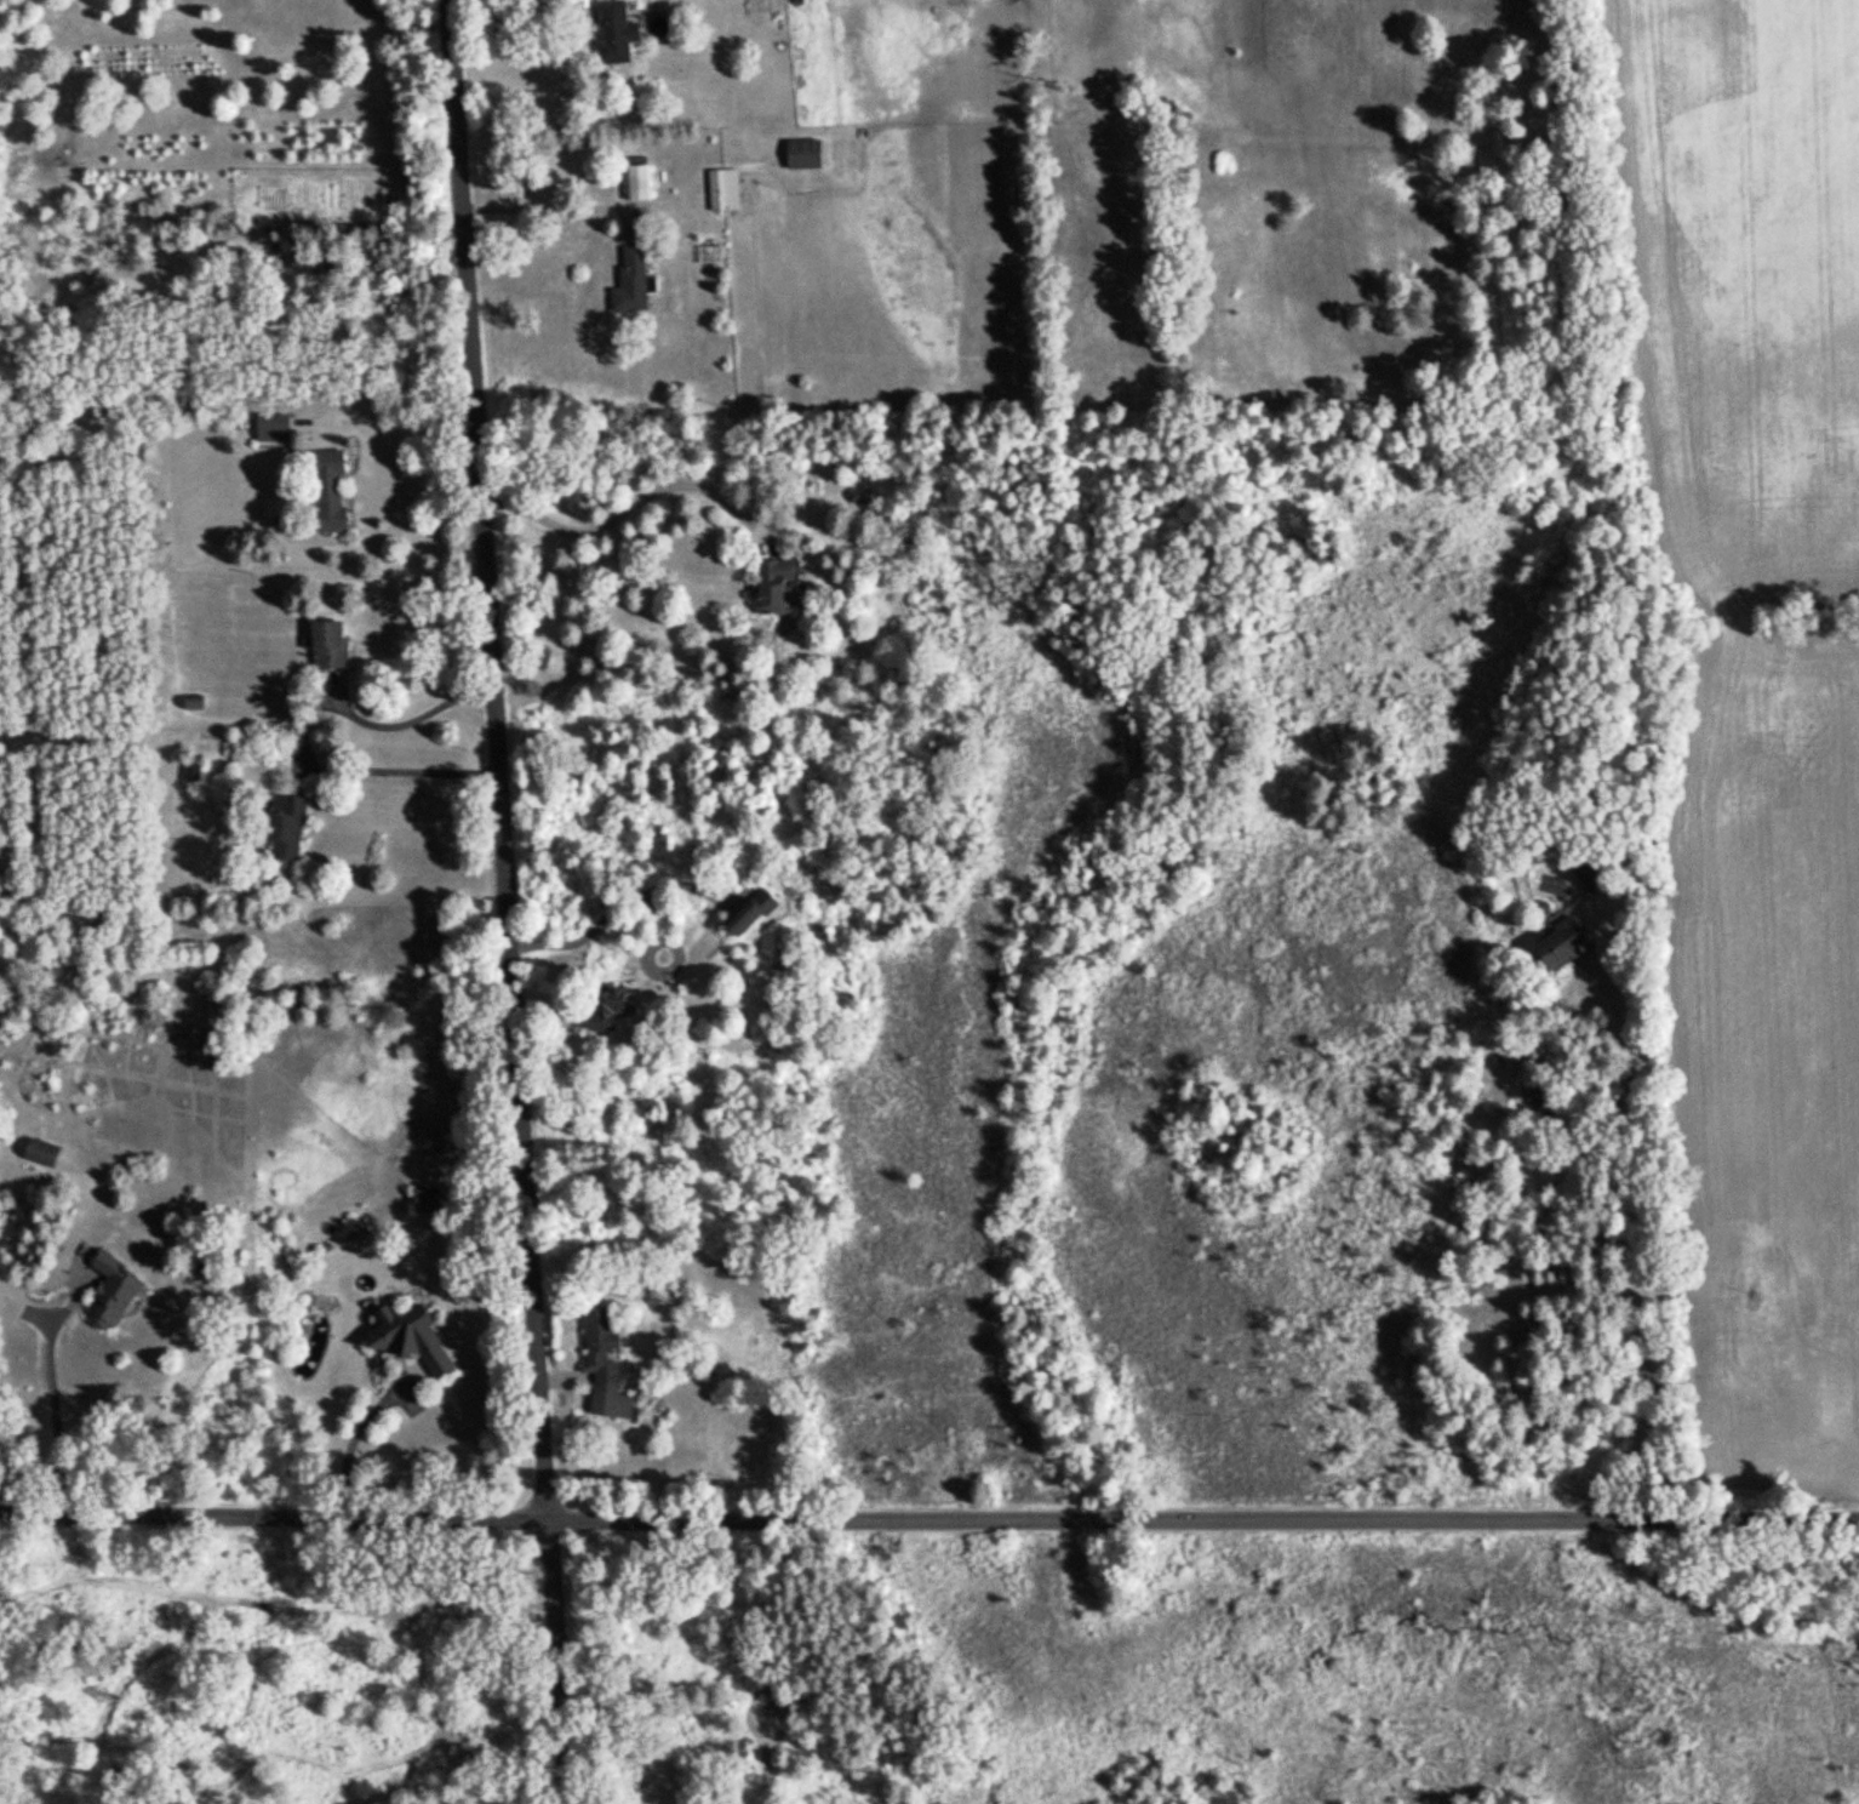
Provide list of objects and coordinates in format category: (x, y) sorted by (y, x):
road: (517, 17)
building: (613, 32)
building: (802, 152)
building: (637, 181)
building: (722, 187)
road: (554, 209)
building: (307, 258)
building: (629, 279)
crop: (1741, 279)
road: (389, 419)
building: (271, 426)
building: (327, 489)
building: (859, 492)
road: (631, 509)
building: (772, 581)
building: (327, 643)
building: (193, 700)
road: (413, 718)
building: (190, 770)
building: (285, 823)
building: (1589, 874)
road: (513, 901)
building: (750, 909)
building: (1561, 941)
building: (608, 1005)
crop: (1777, 1062)
building: (40, 1149)
building: (425, 1195)
road: (1629, 1255)
building: (111, 1289)
building: (410, 1335)
building: (602, 1361)
road: (52, 1394)
road: (354, 1437)
road: (928, 1518)

